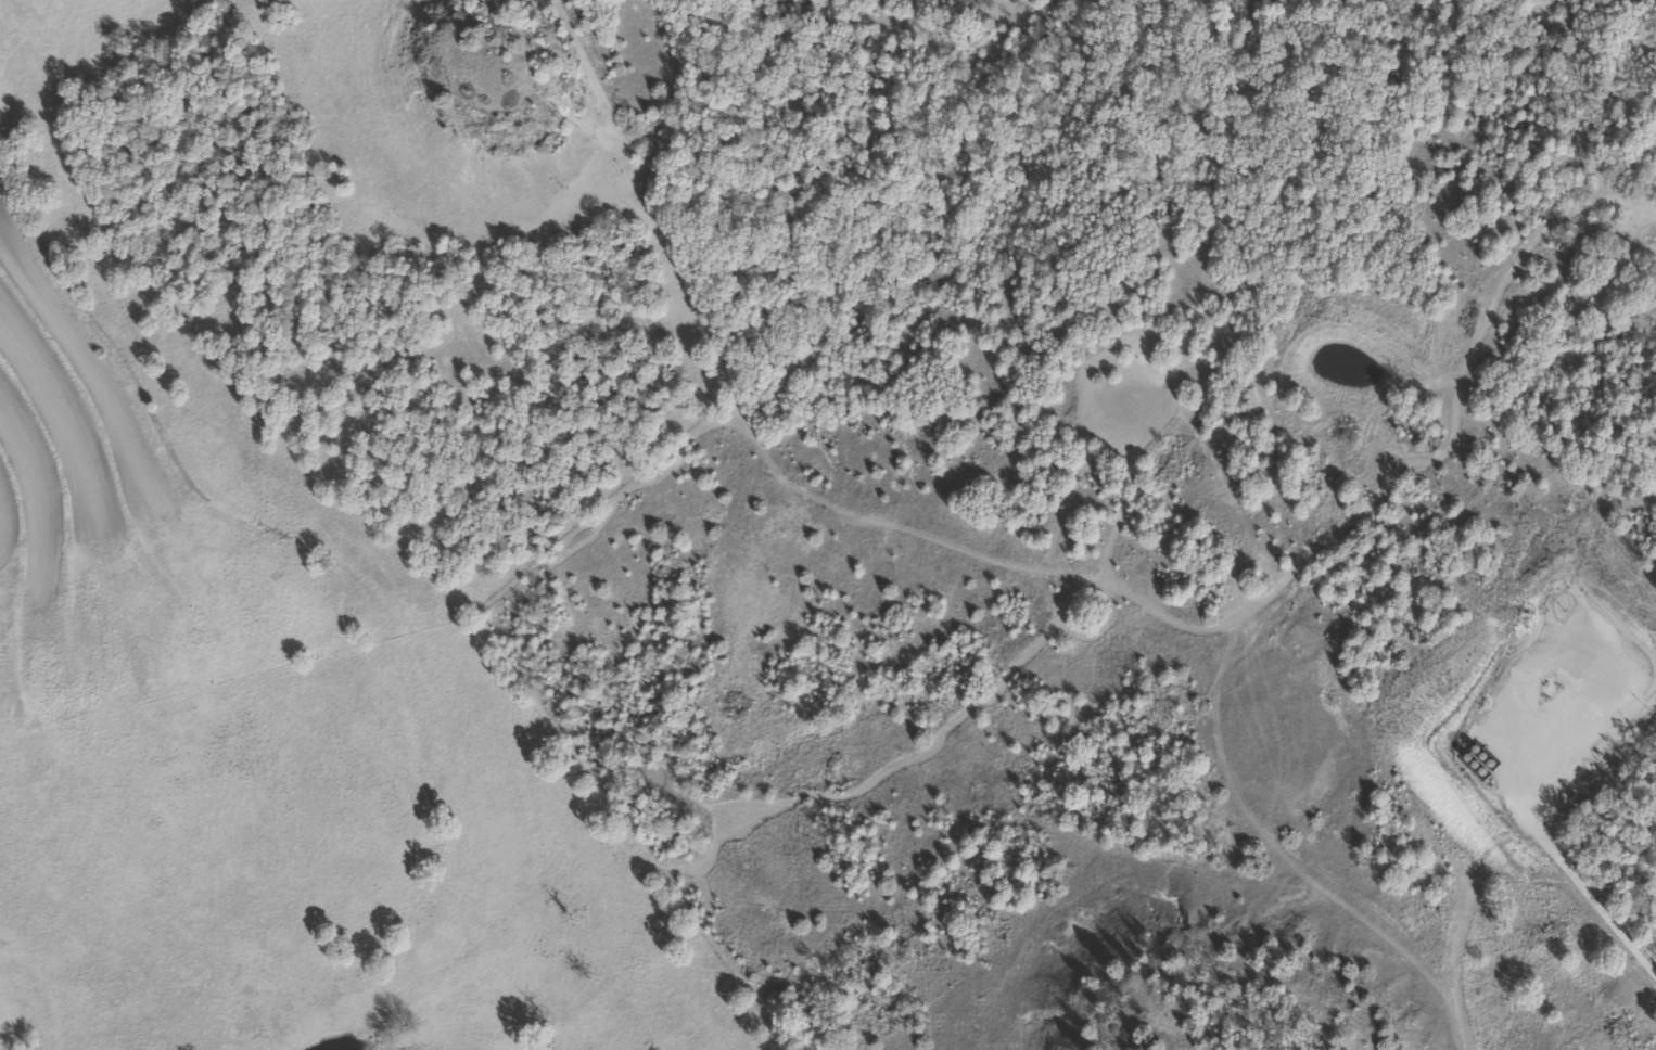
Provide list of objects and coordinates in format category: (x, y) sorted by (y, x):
road: (1585, 898)

